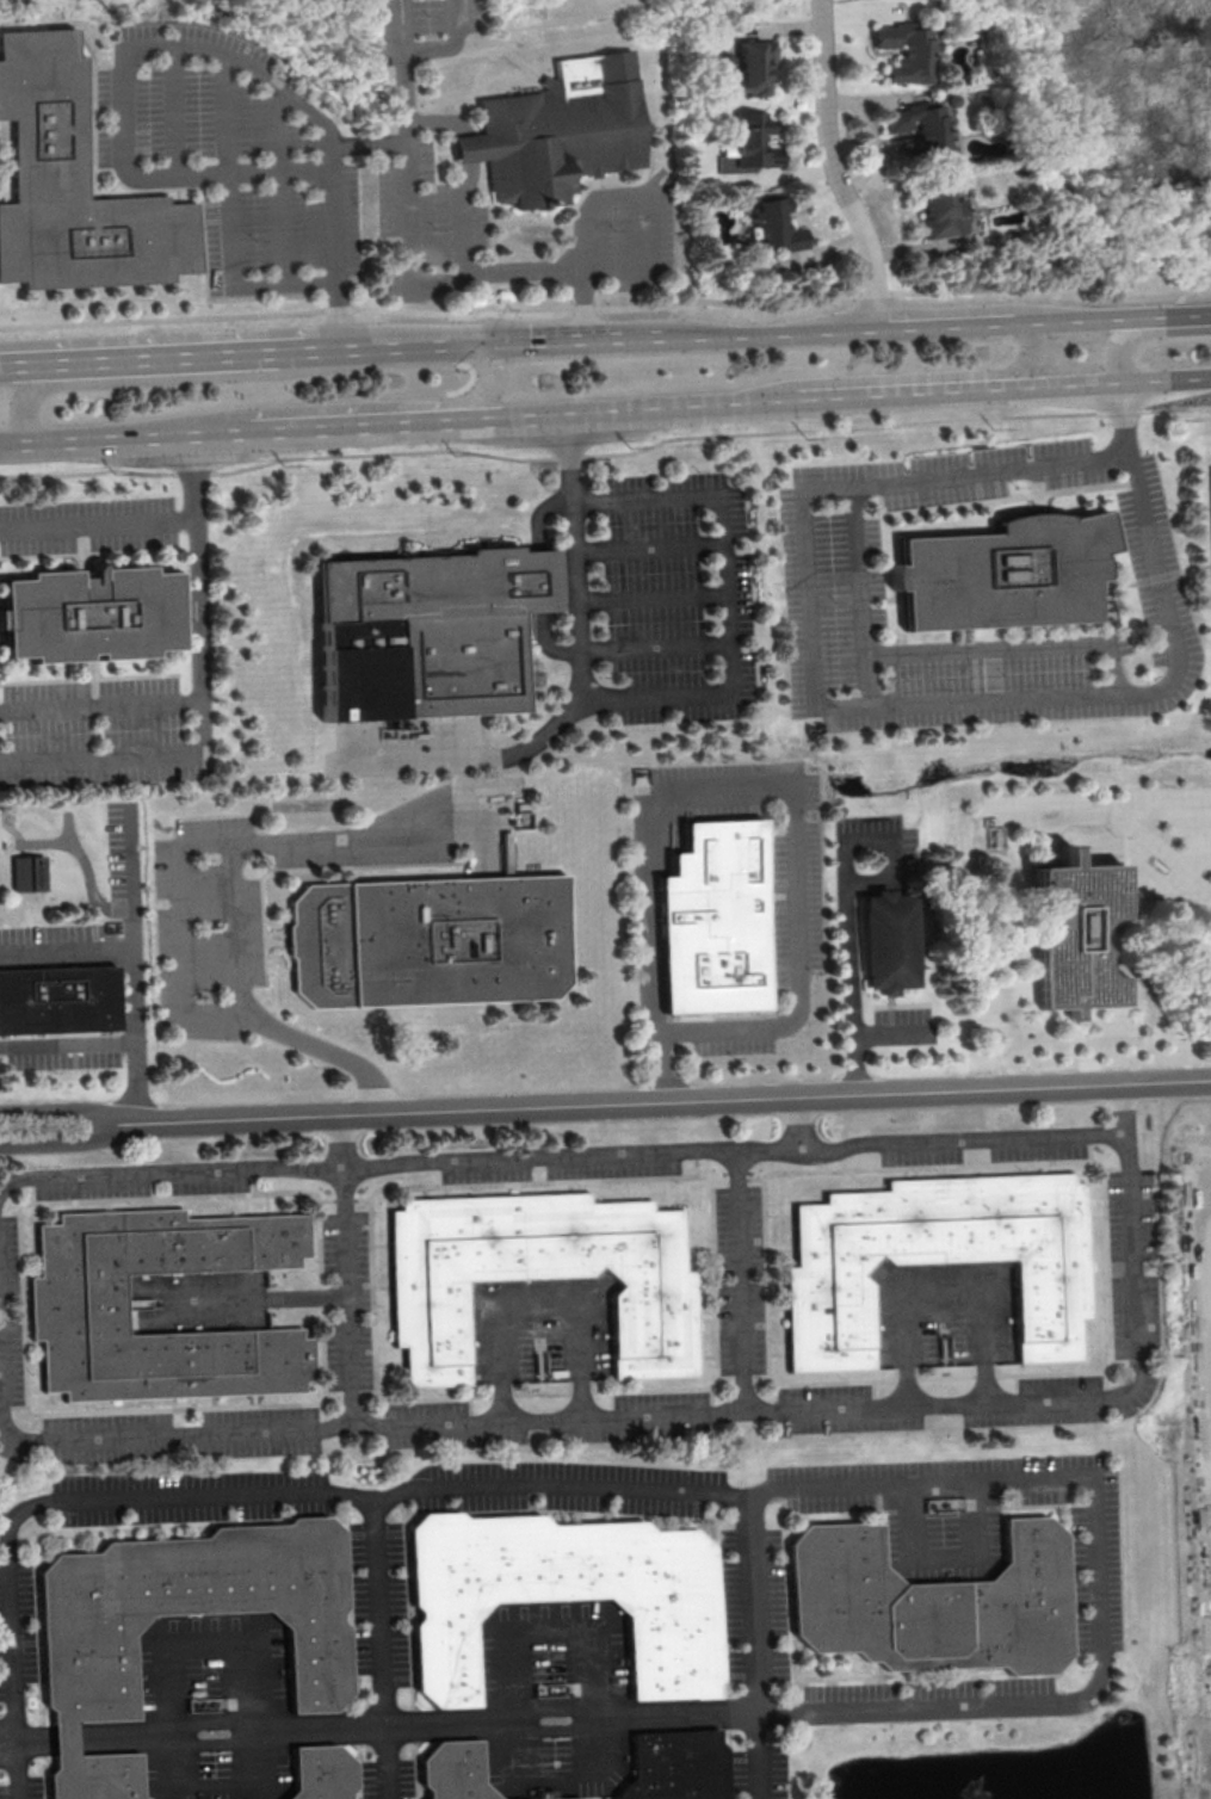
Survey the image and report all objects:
road: (826, 0)
road: (402, 24)
parking lot: (424, 27)
parking lot: (197, 39)
road: (181, 44)
road: (451, 44)
building: (906, 51)
building: (754, 64)
road: (175, 109)
road: (225, 113)
building: (923, 126)
road: (276, 129)
building: (556, 132)
road: (1044, 138)
building: (752, 141)
road: (367, 144)
parking lot: (234, 166)
road: (840, 167)
road: (406, 168)
road: (468, 172)
building: (73, 187)
building: (946, 211)
parking lot: (425, 218)
building: (783, 224)
road: (280, 228)
road: (654, 229)
parking lot: (637, 234)
road: (486, 274)
road: (230, 282)
road: (605, 308)
road: (1186, 313)
road: (1093, 319)
road: (952, 326)
road: (770, 332)
road: (567, 336)
road: (1123, 338)
traffic signals: (474, 340)
road: (385, 344)
road: (177, 356)
road: (26, 363)
road: (906, 377)
road: (159, 379)
road: (1107, 383)
road: (897, 394)
road: (364, 407)
road: (681, 407)
road: (514, 418)
road: (395, 425)
road: (288, 431)
road: (137, 438)
road: (16, 445)
road: (605, 453)
parking lot: (1100, 471)
parking lot: (1209, 499)
road: (538, 513)
road: (98, 521)
parking lot: (87, 524)
road: (649, 545)
parking lot: (1155, 560)
building: (1002, 574)
road: (539, 580)
road: (725, 592)
road: (651, 594)
road: (859, 594)
road: (199, 595)
parking lot: (676, 596)
parking lot: (832, 596)
building: (97, 614)
building: (433, 631)
road: (544, 647)
road: (654, 647)
road: (1012, 647)
road: (582, 681)
road: (101, 704)
road: (877, 704)
parking lot: (95, 732)
road: (104, 761)
road: (749, 787)
road: (1106, 811)
parking lot: (1119, 815)
parking lot: (876, 851)
road: (1169, 854)
road: (894, 855)
parking lot: (124, 858)
road: (1193, 860)
building: (27, 872)
parking lot: (797, 894)
road: (183, 896)
building: (712, 921)
parking lot: (214, 931)
building: (1083, 935)
building: (895, 940)
building: (427, 942)
road: (66, 947)
road: (132, 964)
road: (853, 964)
building: (56, 1001)
parking lot: (902, 1025)
road: (890, 1031)
parking lot: (731, 1035)
road: (67, 1043)
road: (327, 1050)
parking lot: (62, 1052)
road: (661, 1101)
road: (57, 1109)
road: (932, 1138)
road: (58, 1142)
road: (398, 1161)
road: (1210, 1220)
building: (937, 1261)
road: (346, 1269)
building: (539, 1276)
road: (740, 1284)
road: (940, 1293)
road: (540, 1297)
parking lot: (586, 1297)
building: (74, 1305)
road: (679, 1415)
road: (230, 1494)
road: (943, 1556)
building: (563, 1597)
building: (931, 1605)
parking lot: (544, 1620)
road: (753, 1647)
building: (86, 1668)
road: (597, 1669)
road: (253, 1694)
road: (1055, 1698)
road: (61, 1738)
road: (31, 1739)
road: (6, 1756)
road: (13, 1762)
building: (675, 1767)
building: (451, 1772)
building: (319, 1774)
building: (540, 1795)
building: (561, 1798)

